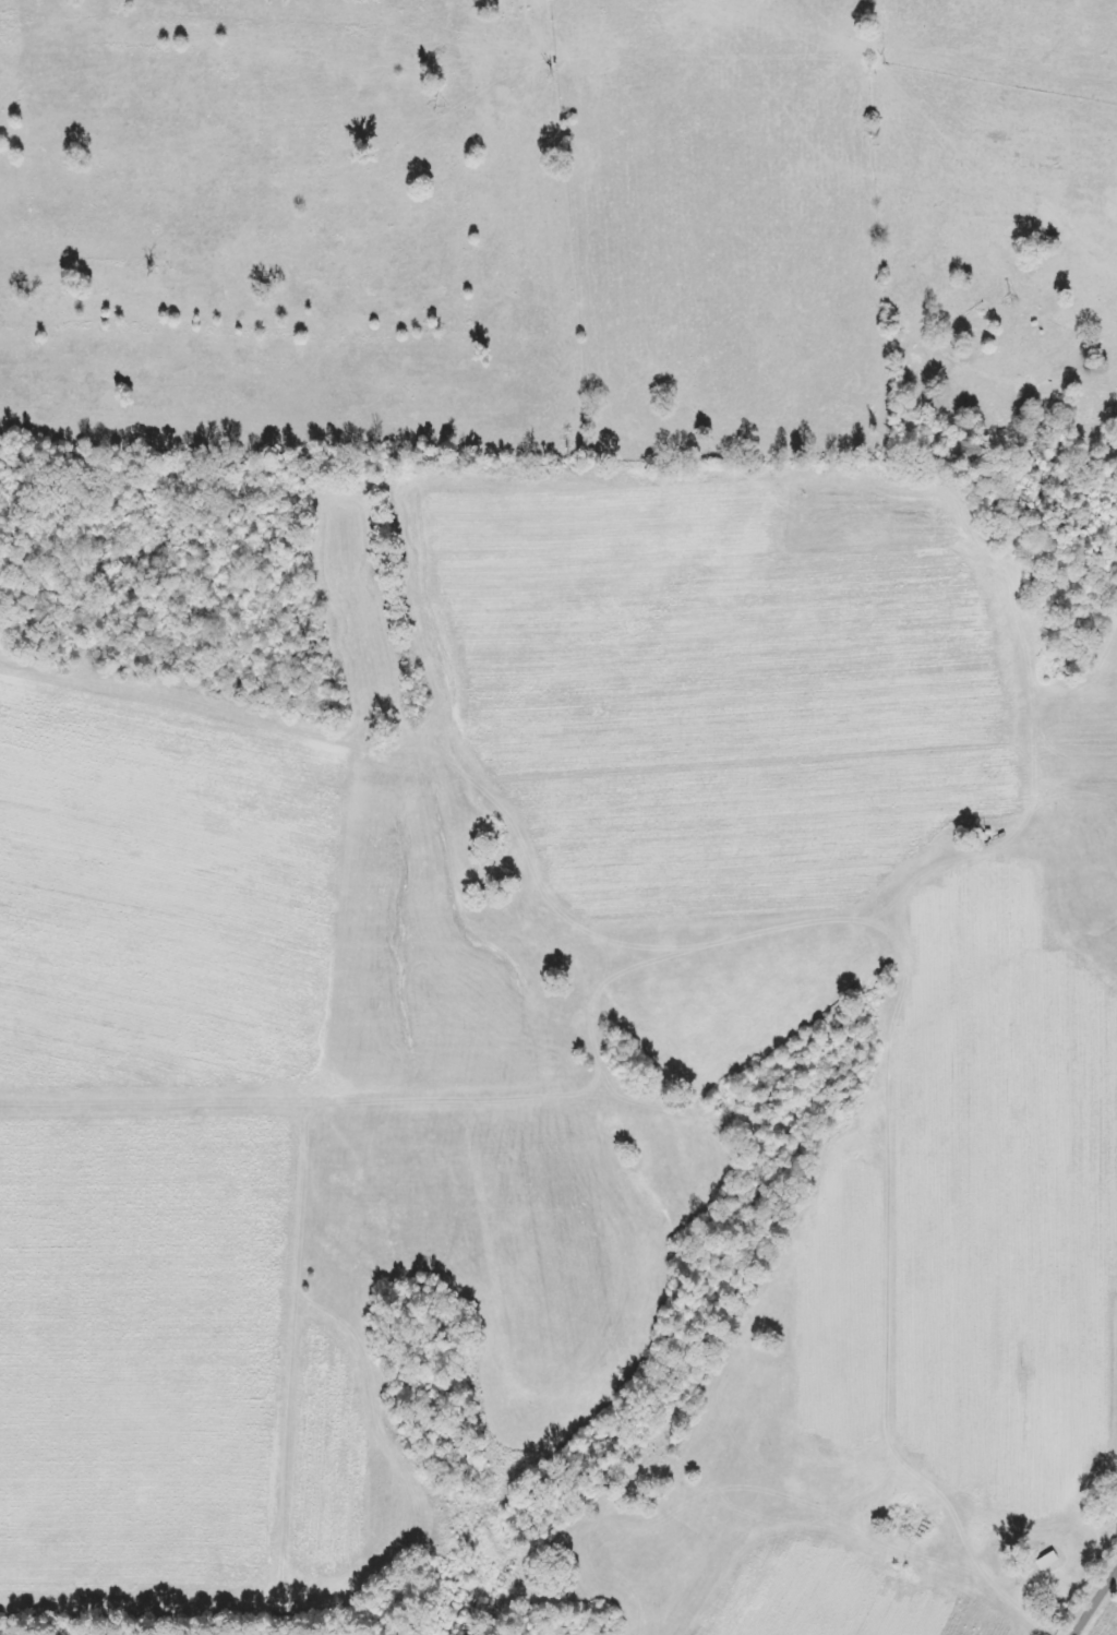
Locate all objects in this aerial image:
road: (1089, 1591)

